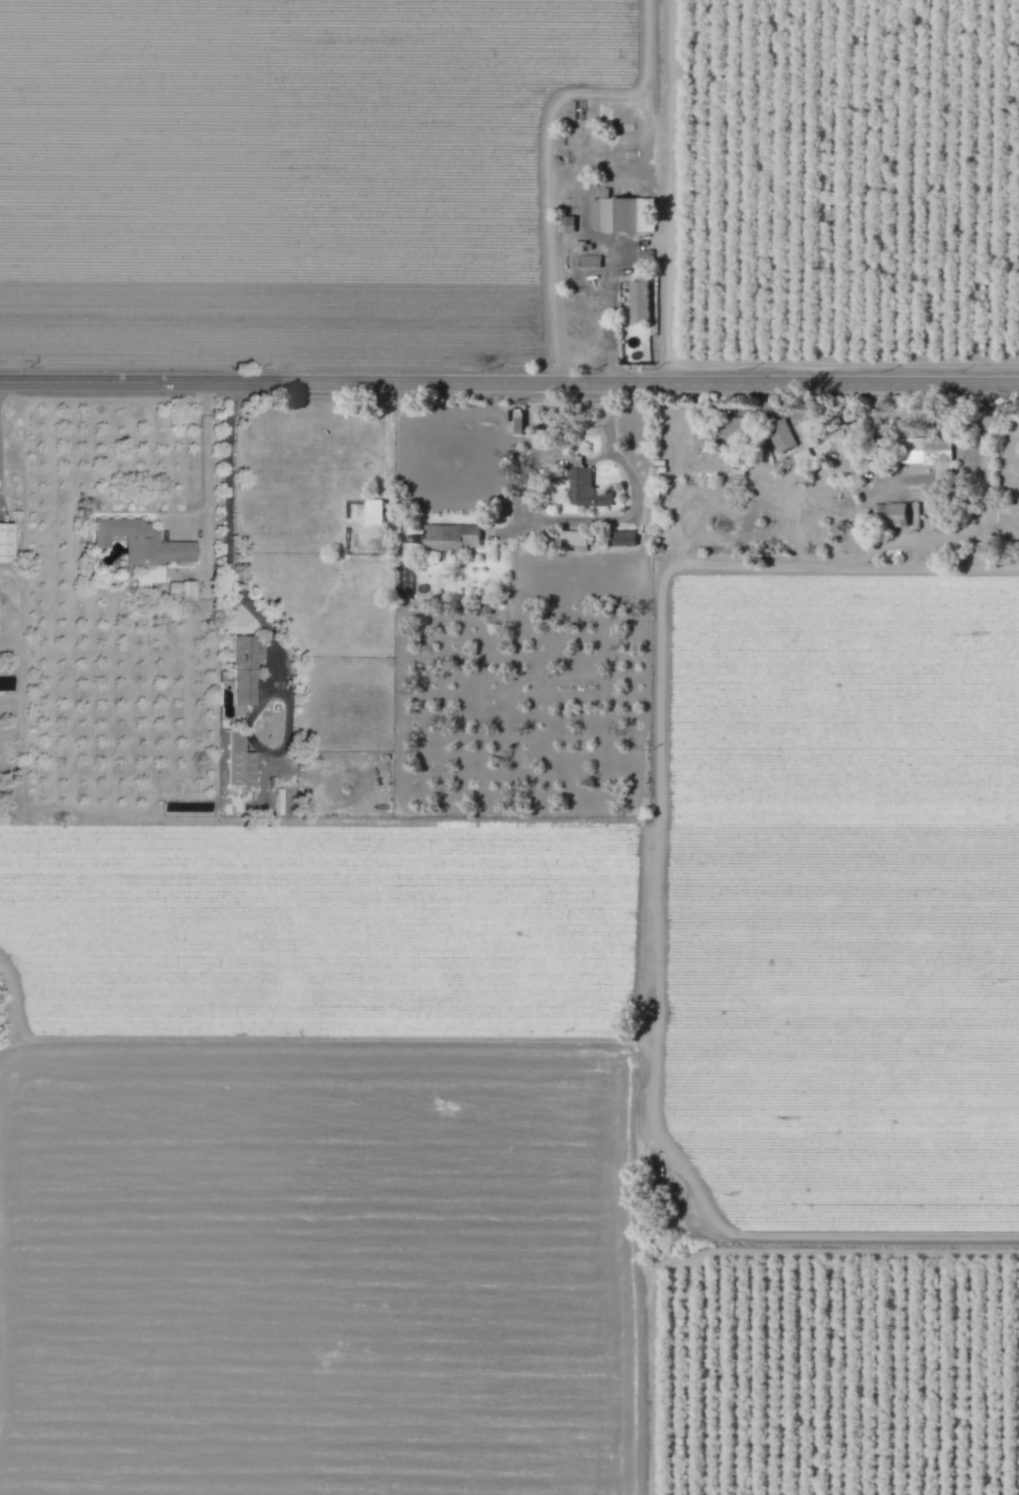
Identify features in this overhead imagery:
road: (574, 175)
building: (624, 213)
building: (641, 301)
road: (582, 353)
road: (509, 381)
road: (793, 413)
building: (518, 423)
building: (783, 437)
building: (803, 455)
building: (933, 456)
building: (587, 490)
building: (376, 511)
building: (898, 513)
road: (226, 517)
road: (567, 521)
building: (453, 536)
building: (574, 538)
building: (626, 538)
building: (5, 542)
building: (143, 542)
building: (853, 542)
building: (183, 590)
building: (245, 669)
road: (279, 747)
building: (240, 763)

